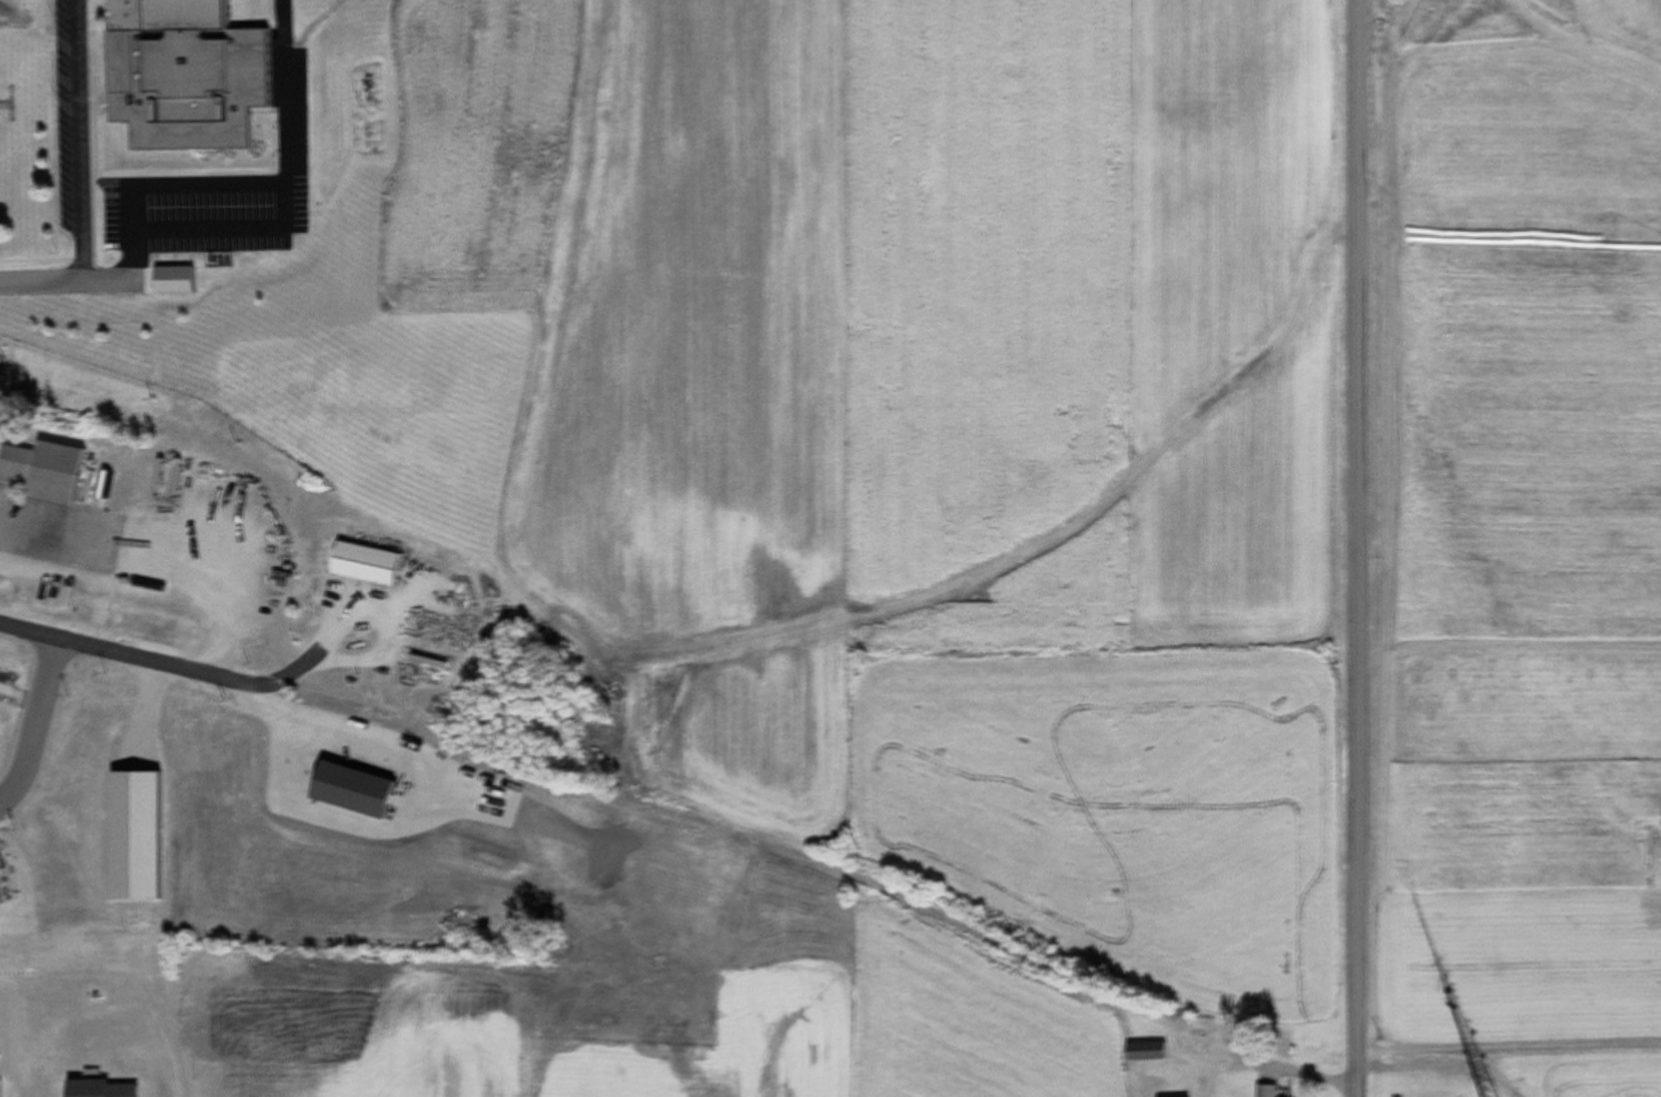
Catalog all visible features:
building: (180, 75)
road: (79, 178)
building: (41, 473)
building: (160, 477)
road: (1353, 548)
building: (360, 566)
road: (132, 652)
building: (422, 664)
road: (34, 715)
building: (1144, 1052)
building: (1264, 1092)

